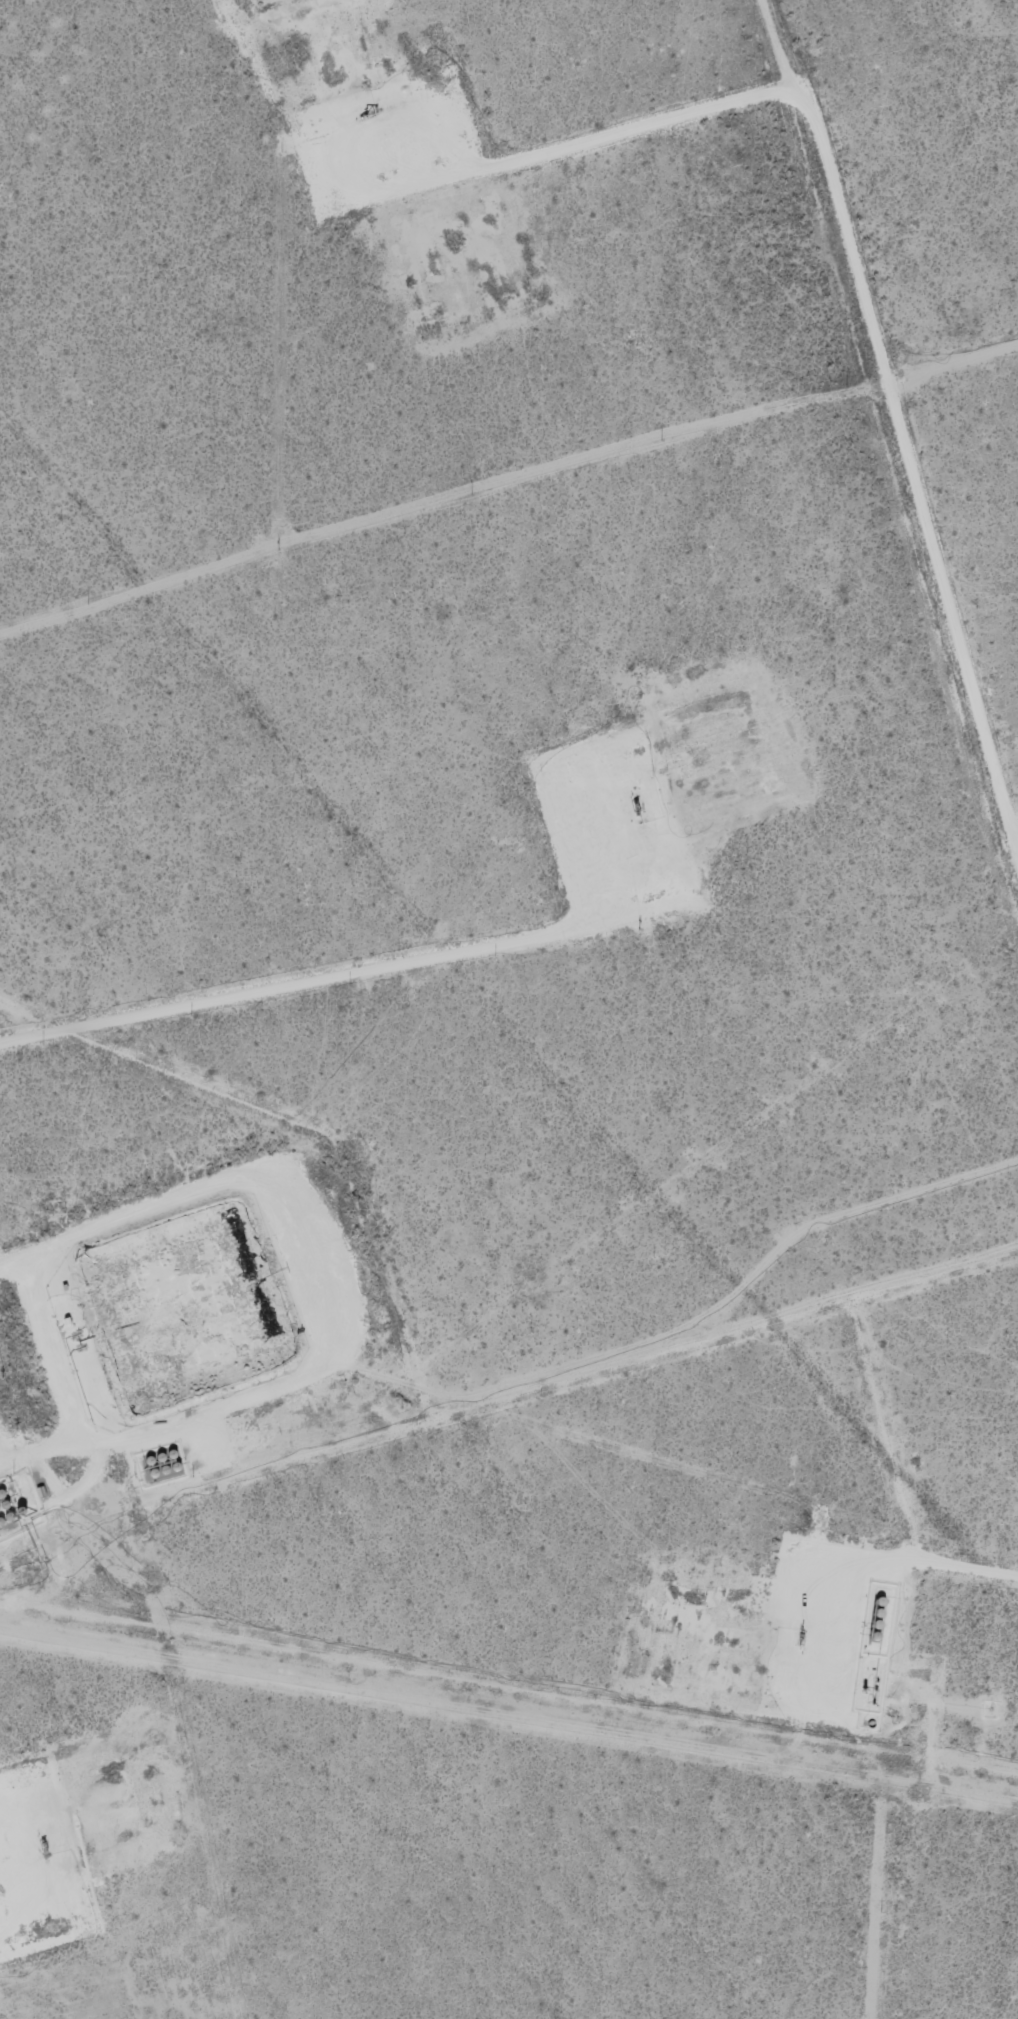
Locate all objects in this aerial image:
petroleum well: (357, 103)
road: (839, 251)
petroleum well: (646, 807)
petroleum well: (37, 1850)

